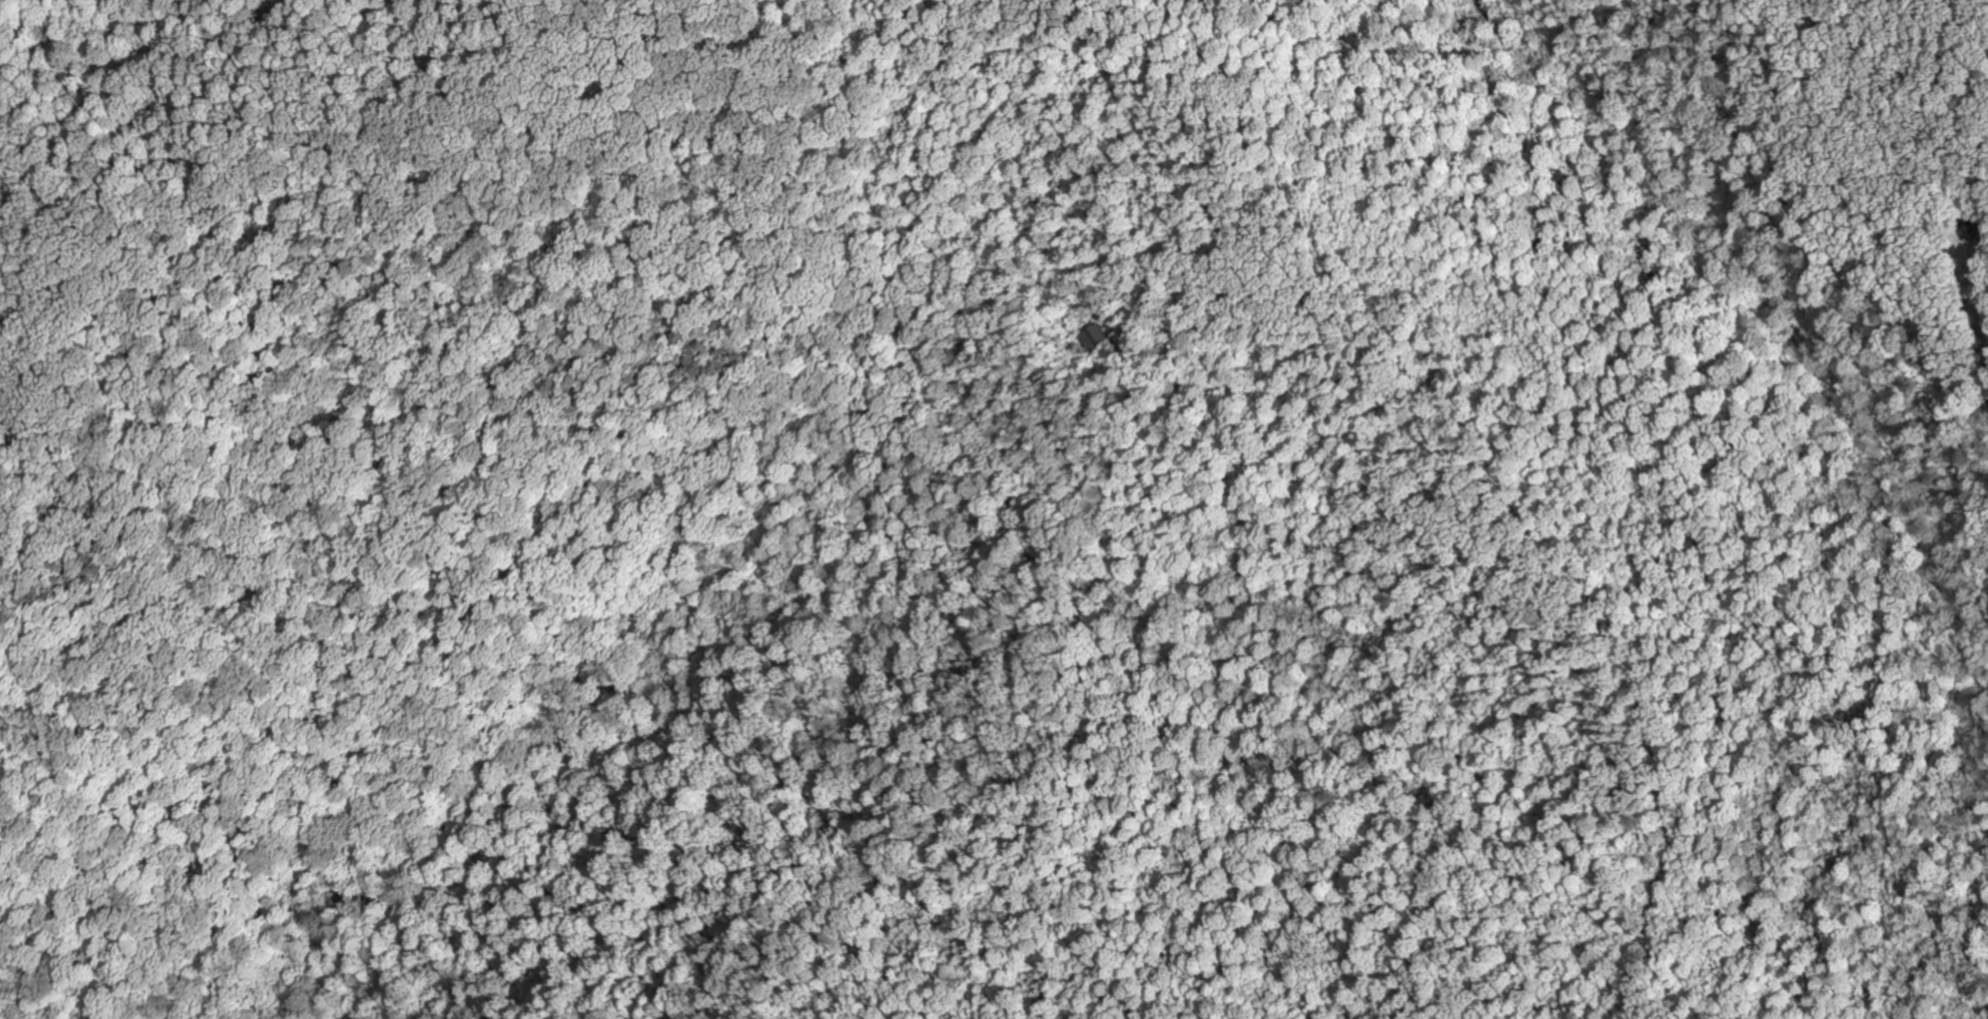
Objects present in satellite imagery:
road: (1981, 294)
building: (1094, 338)

